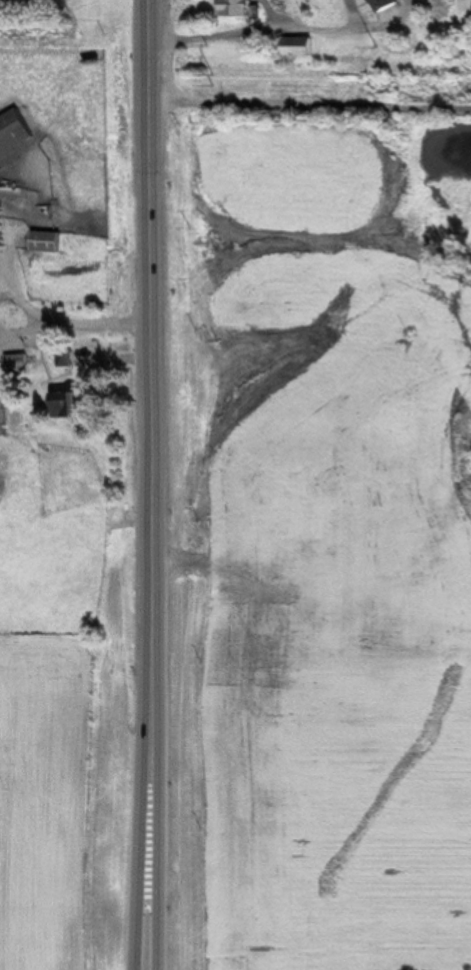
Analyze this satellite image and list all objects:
building: (385, 5)
building: (237, 9)
building: (301, 47)
power tower: (211, 79)
road: (309, 106)
building: (16, 134)
building: (3, 224)
building: (51, 241)
road: (25, 301)
building: (13, 326)
road: (101, 326)
road: (25, 343)
building: (20, 364)
building: (5, 402)
building: (76, 405)
road: (152, 433)
crop: (317, 544)
road: (137, 918)
road: (154, 918)

